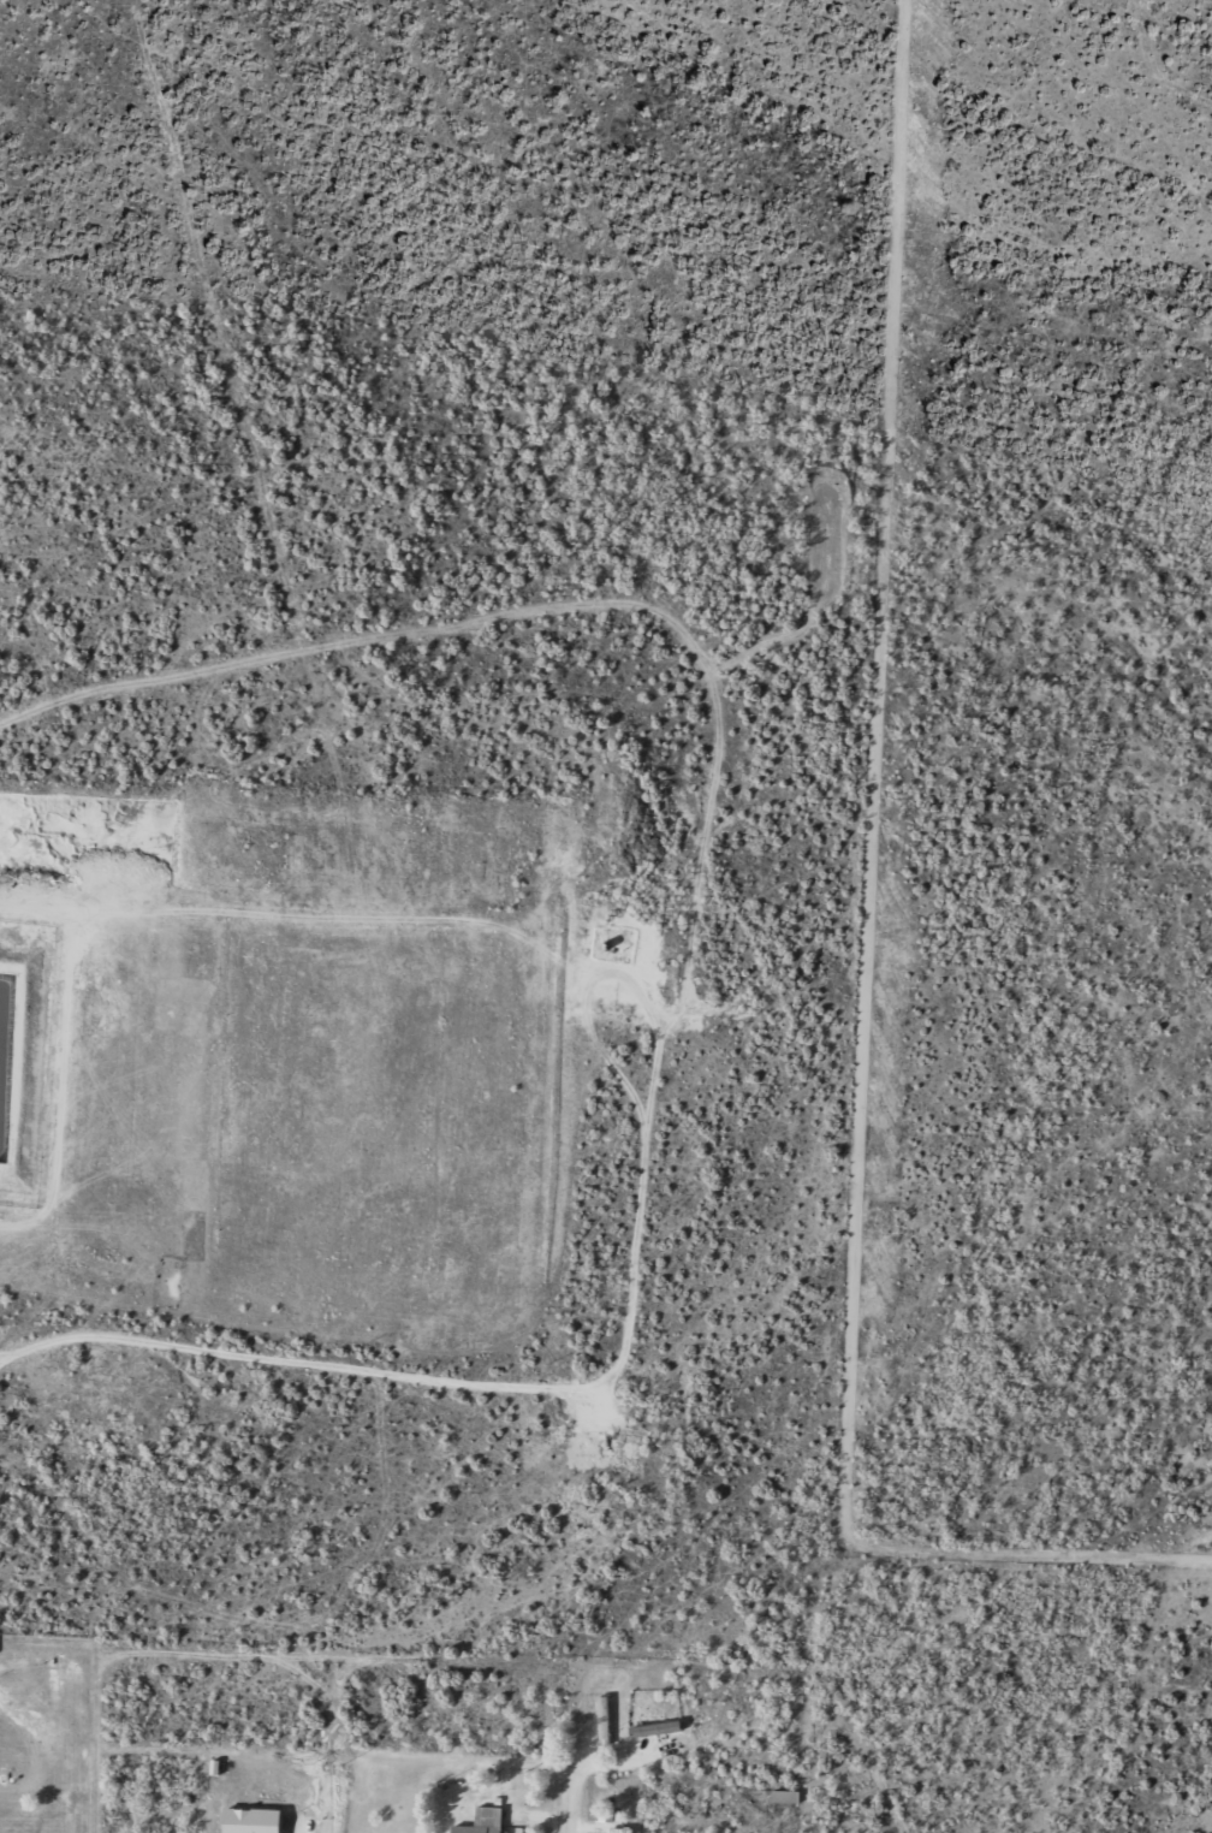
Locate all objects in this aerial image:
building: (789, 1796)
road: (572, 1809)
building: (487, 1821)

